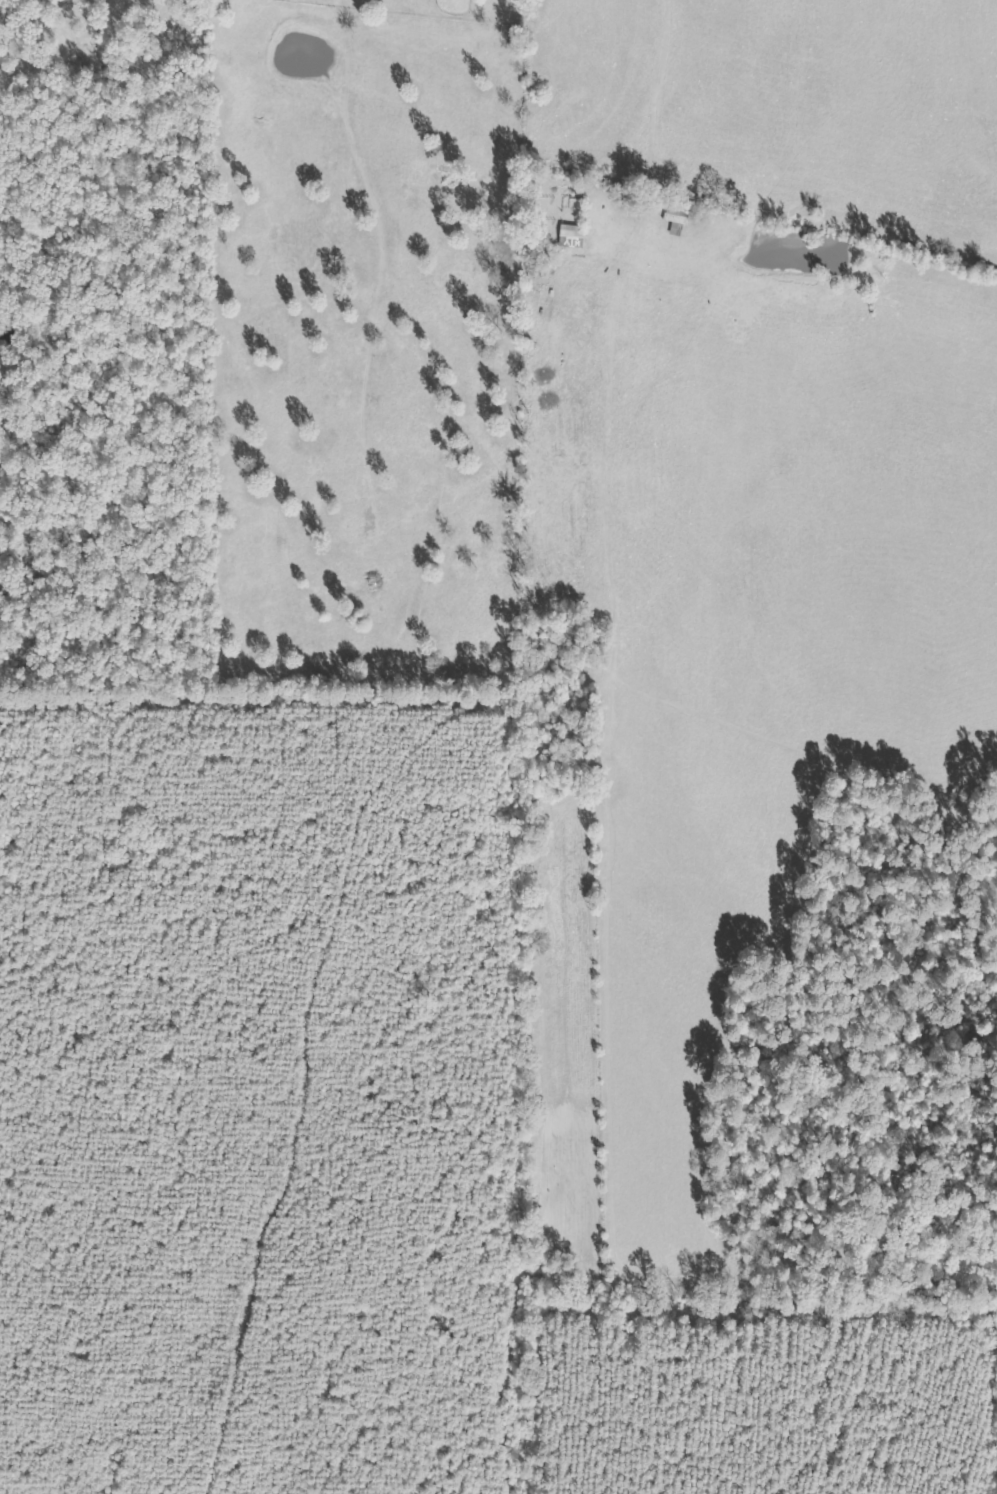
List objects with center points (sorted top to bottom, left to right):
building: (574, 236)

